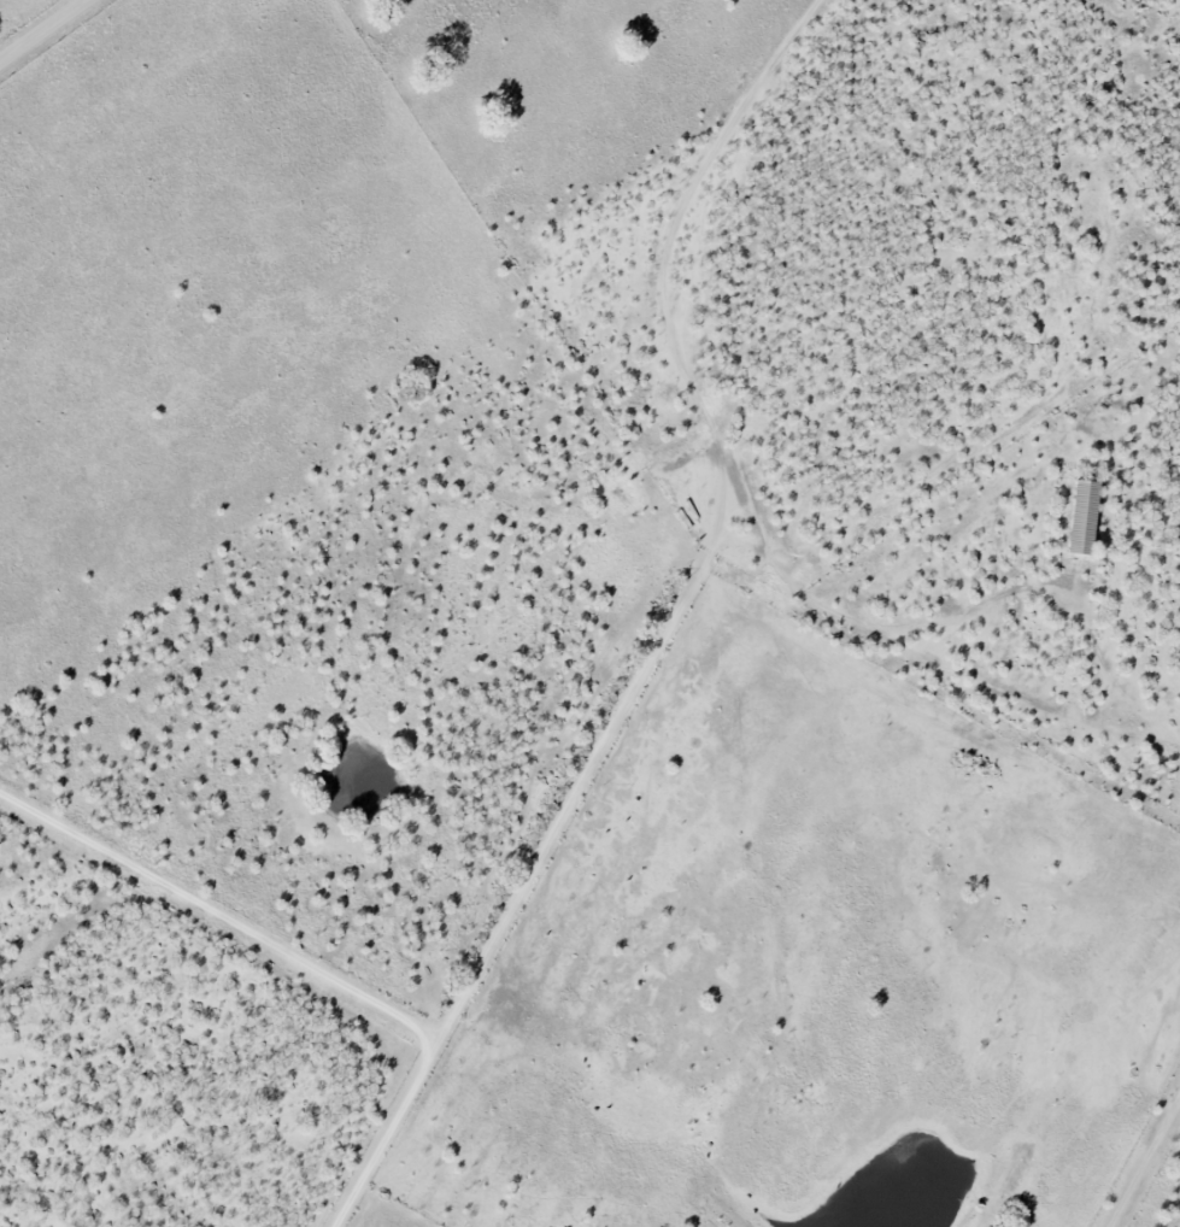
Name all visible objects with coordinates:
road: (43, 31)
road: (287, 981)

